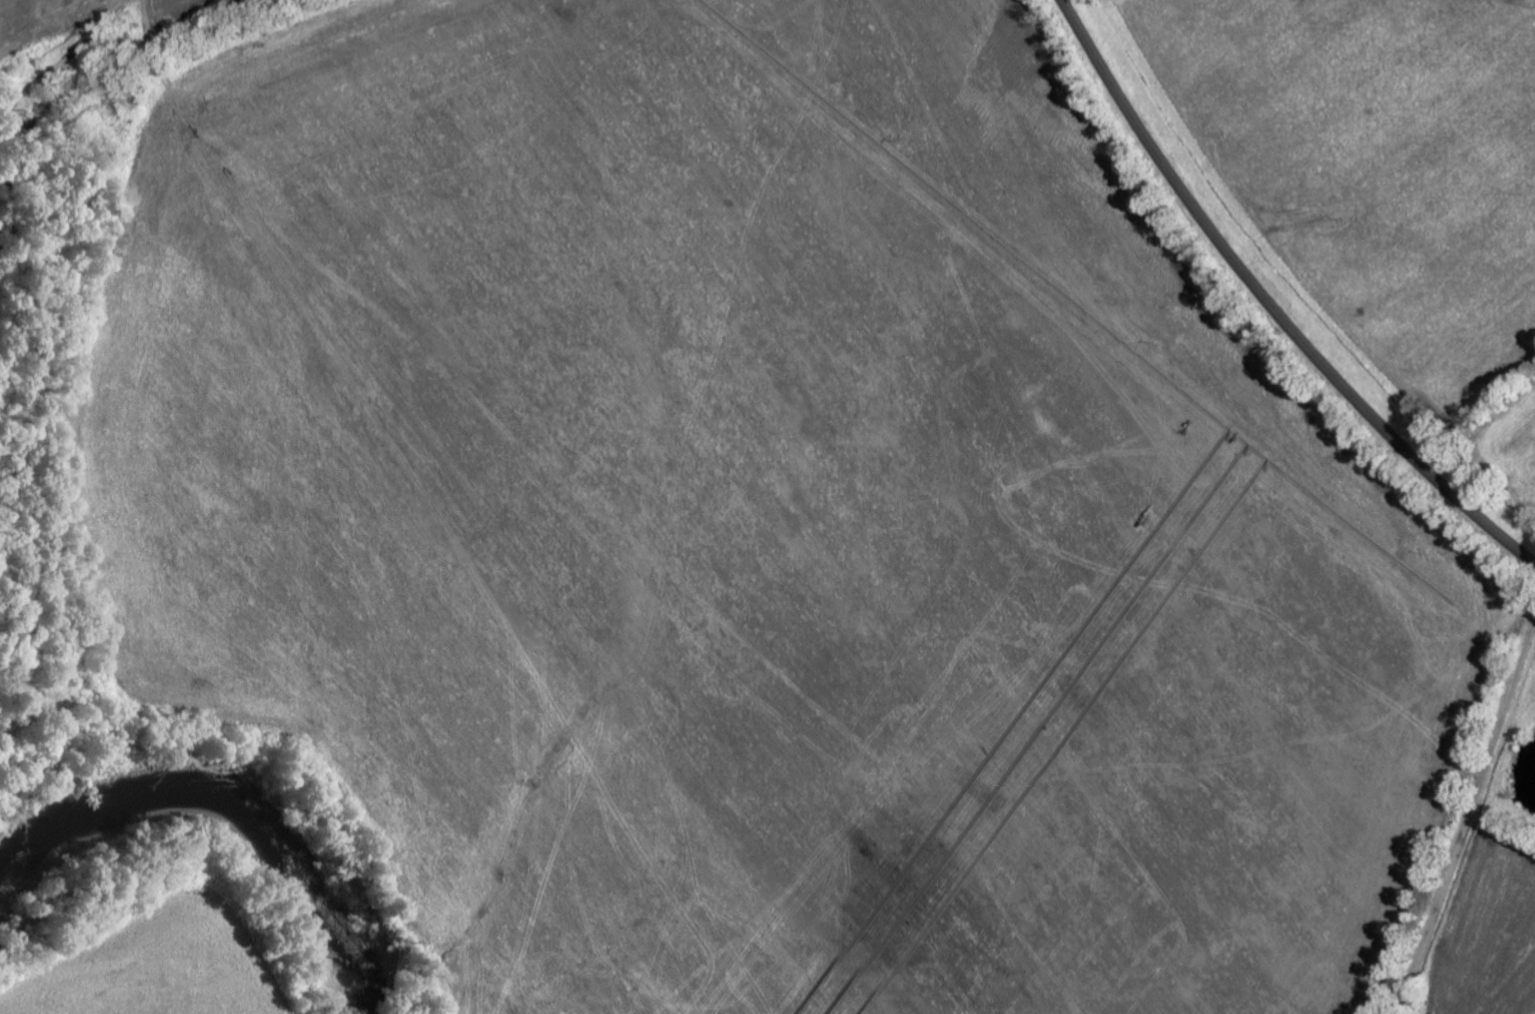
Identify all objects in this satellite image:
road: (1270, 308)
road: (1471, 807)

